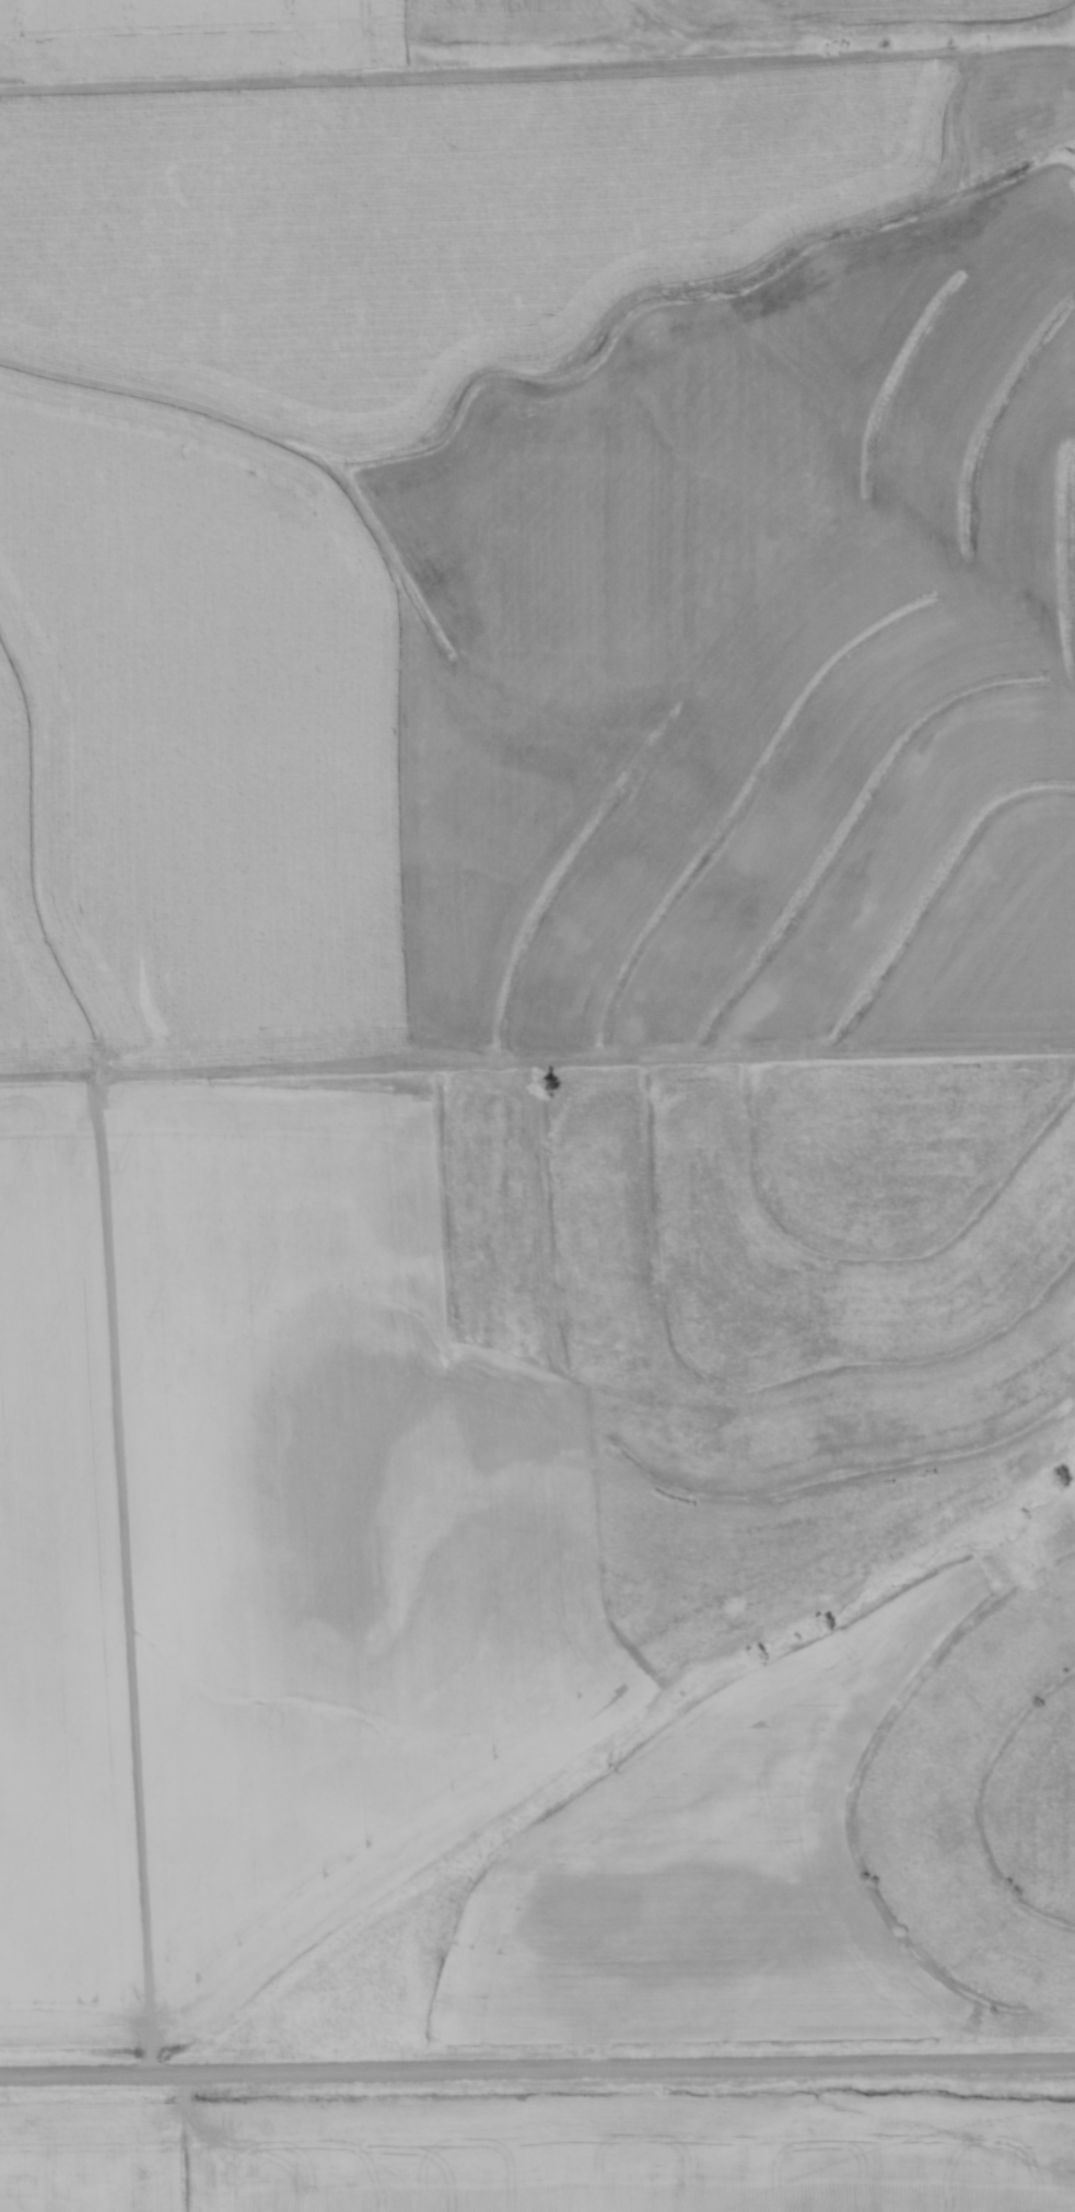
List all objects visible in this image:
road: (537, 2073)

